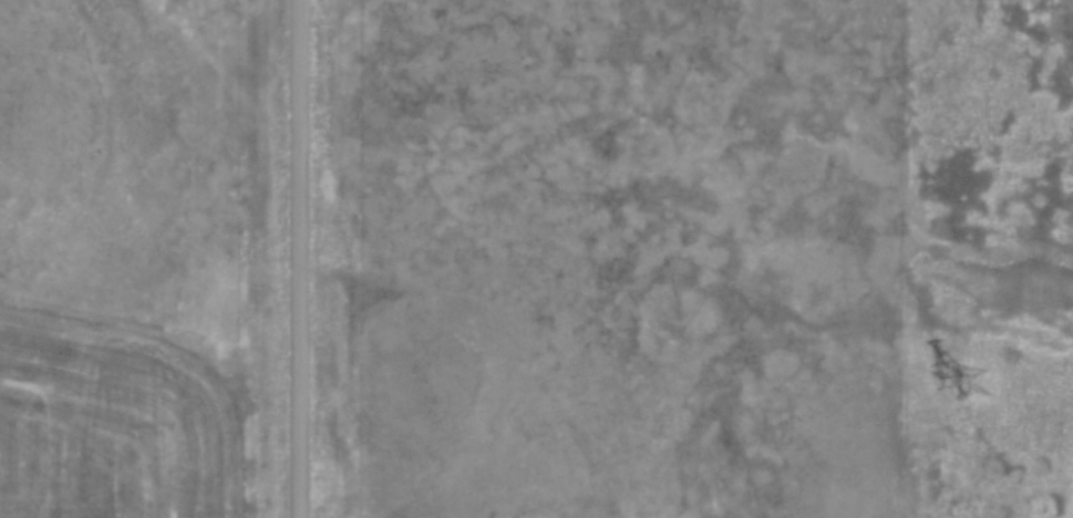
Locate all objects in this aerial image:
road: (300, 258)
power tower: (995, 380)

